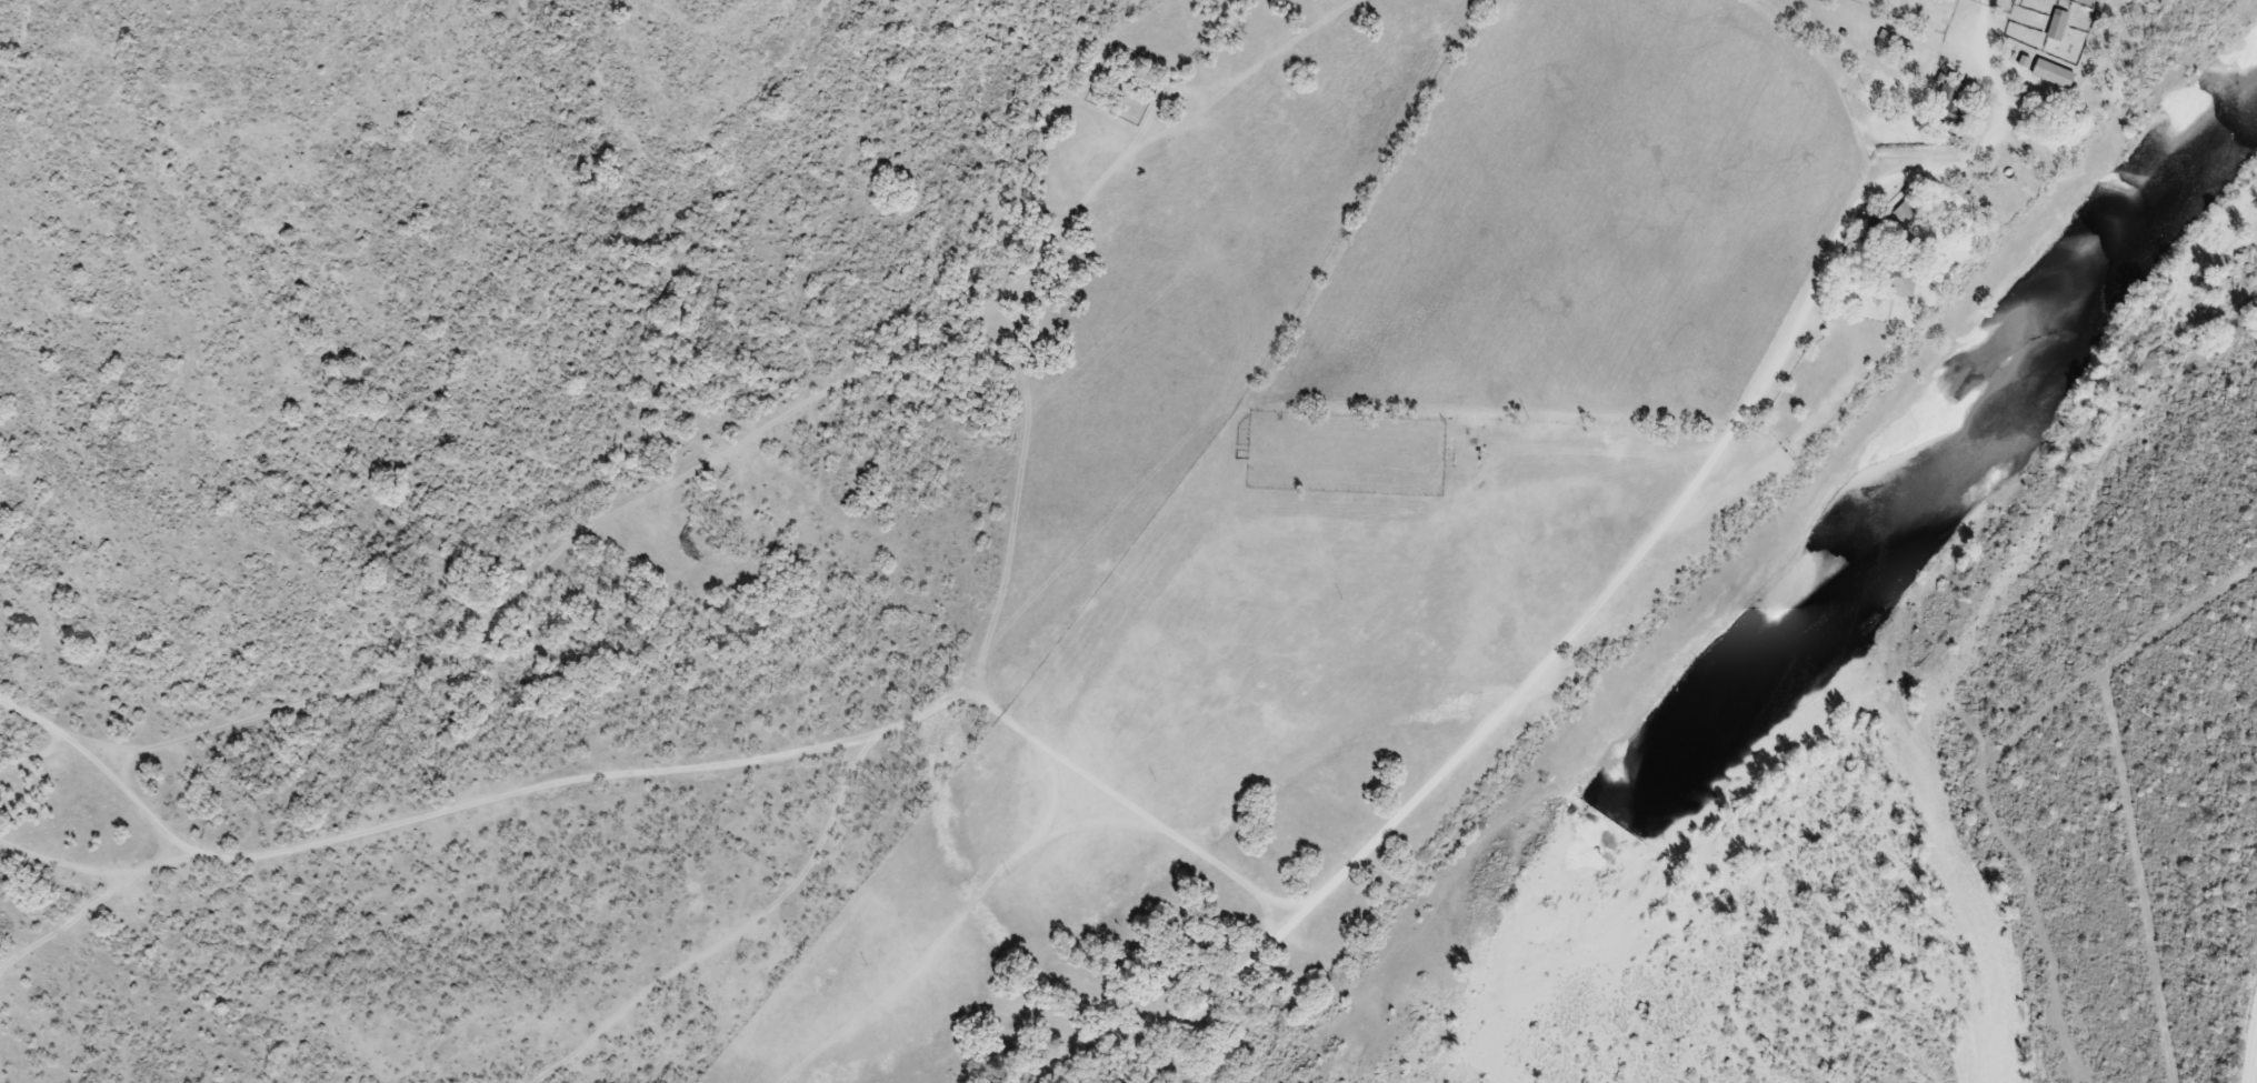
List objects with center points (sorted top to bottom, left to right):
building: (2055, 26)
building: (2049, 74)
building: (1948, 100)
building: (1903, 209)
building: (1905, 242)
building: (1894, 282)
road: (1631, 566)
road: (661, 775)
road: (735, 931)
road: (2253, 1056)

